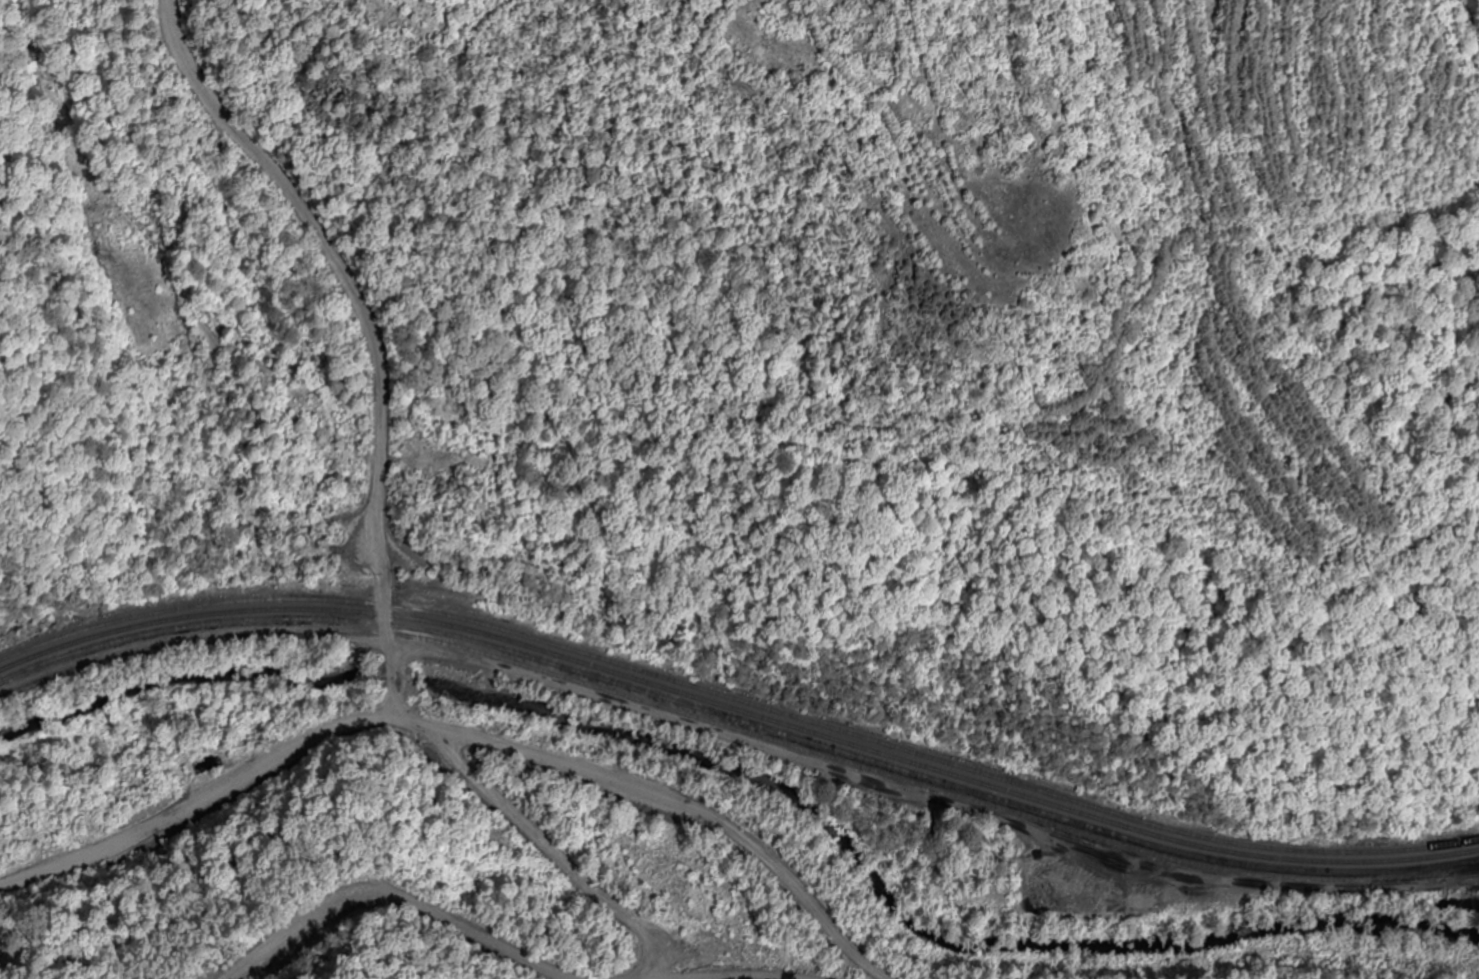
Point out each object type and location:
road: (368, 339)
railway: (738, 710)
road: (459, 733)
road: (518, 942)

